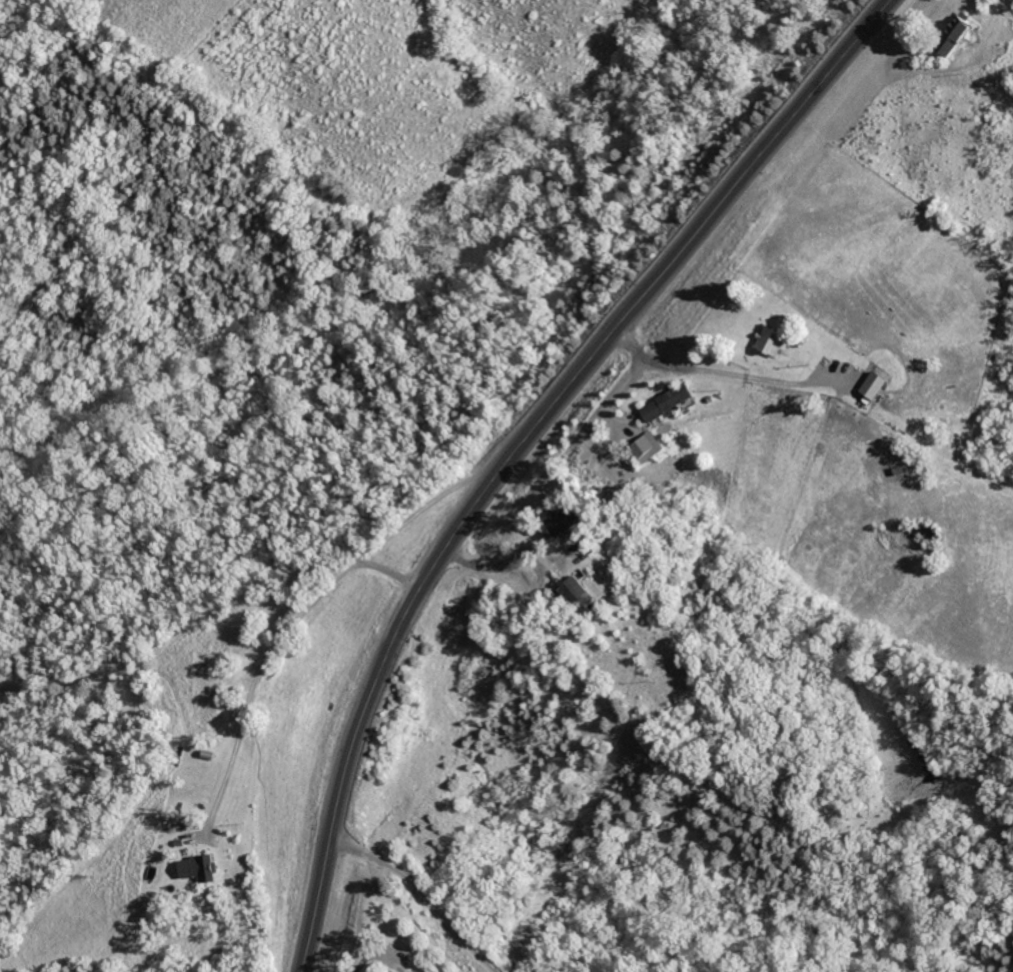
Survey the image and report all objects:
building: (960, 32)
building: (775, 339)
road: (721, 371)
building: (880, 383)
building: (670, 401)
road: (520, 443)
building: (650, 446)
building: (571, 521)
building: (581, 588)
road: (304, 601)
building: (206, 867)
road: (212, 928)
building: (415, 971)

